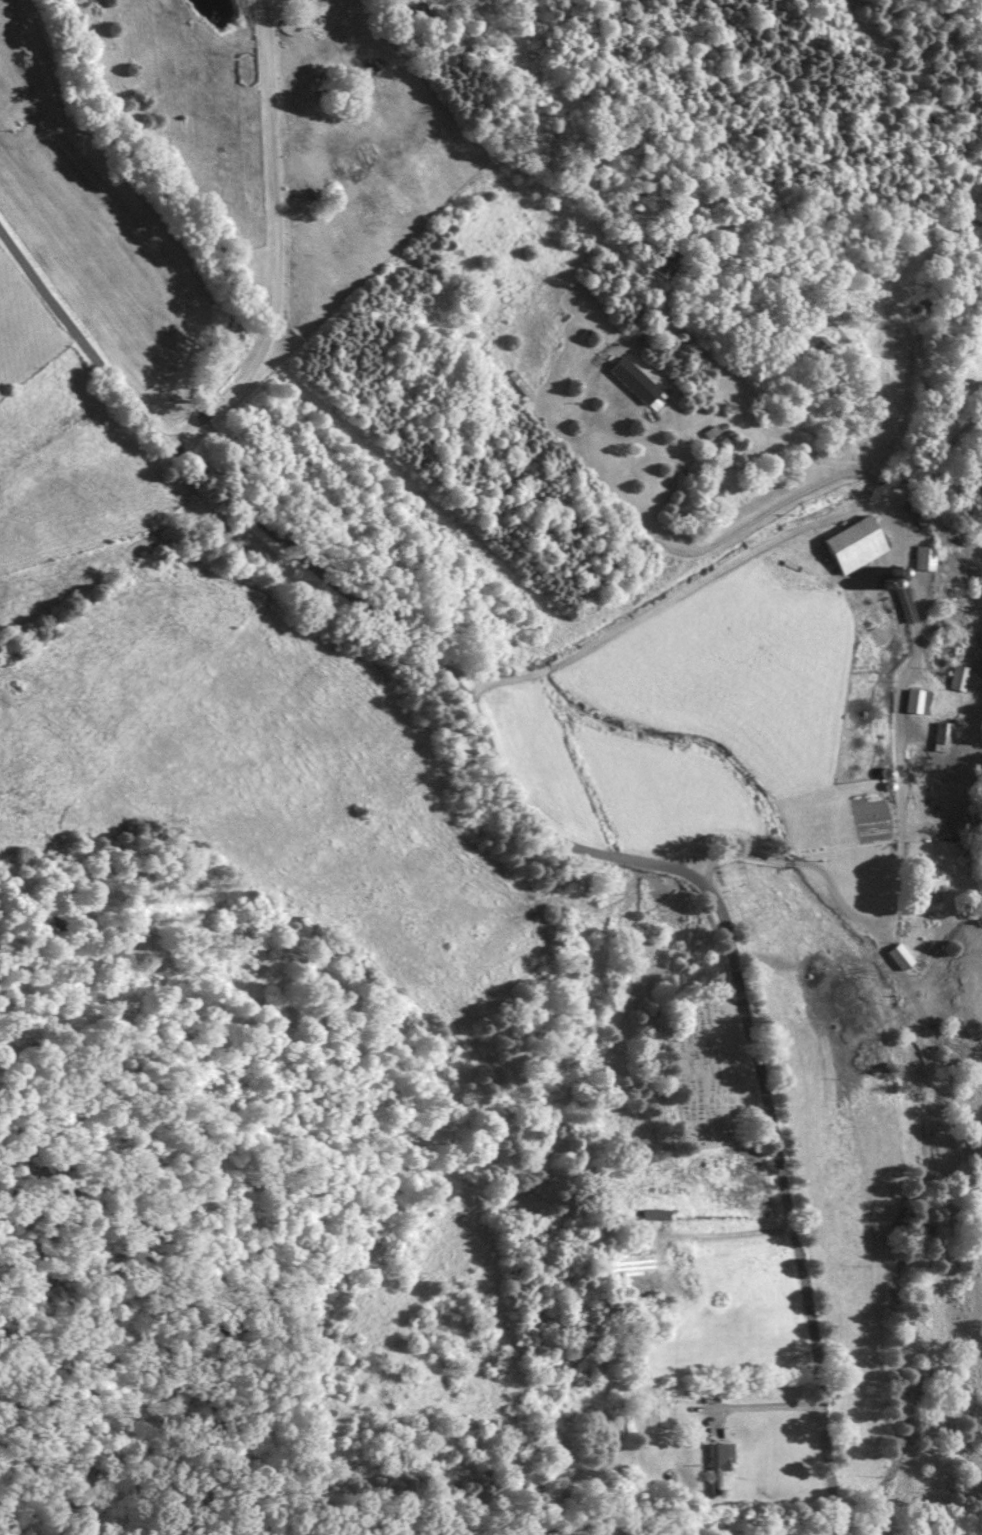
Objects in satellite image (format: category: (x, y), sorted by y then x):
building: (708, 229)
building: (654, 259)
building: (627, 379)
building: (847, 545)
building: (919, 557)
road: (699, 593)
building: (899, 602)
building: (878, 631)
building: (956, 677)
building: (911, 701)
building: (937, 736)
road: (536, 835)
building: (926, 879)
building: (894, 955)
building: (649, 1213)
building: (713, 1466)

